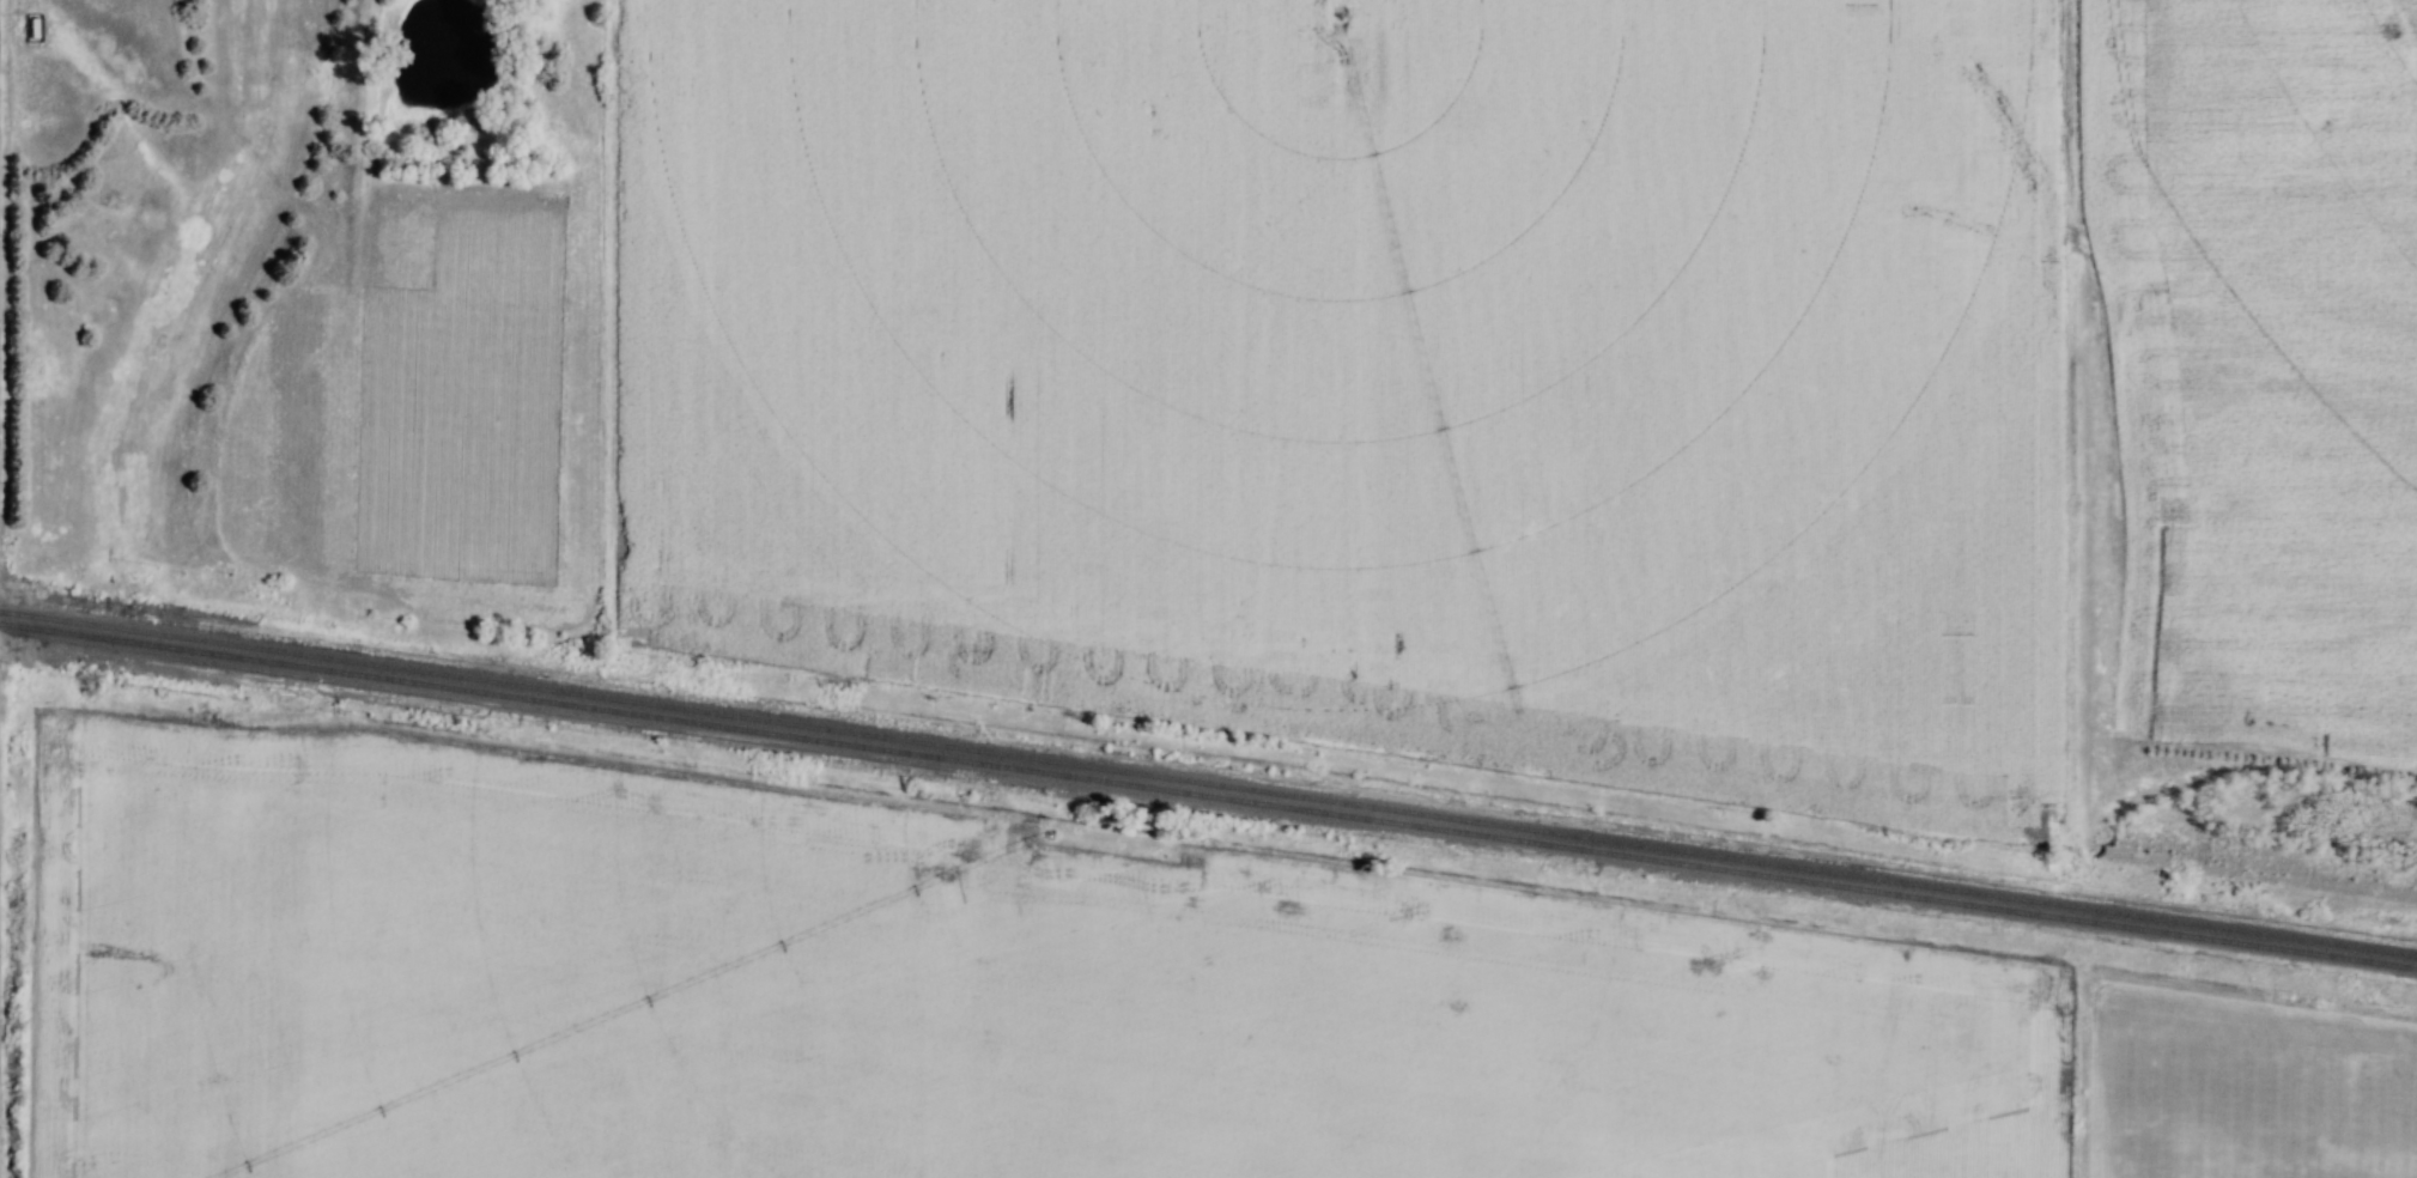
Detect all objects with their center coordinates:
crop: (2261, 369)
railway: (1207, 782)
railway: (1207, 799)

